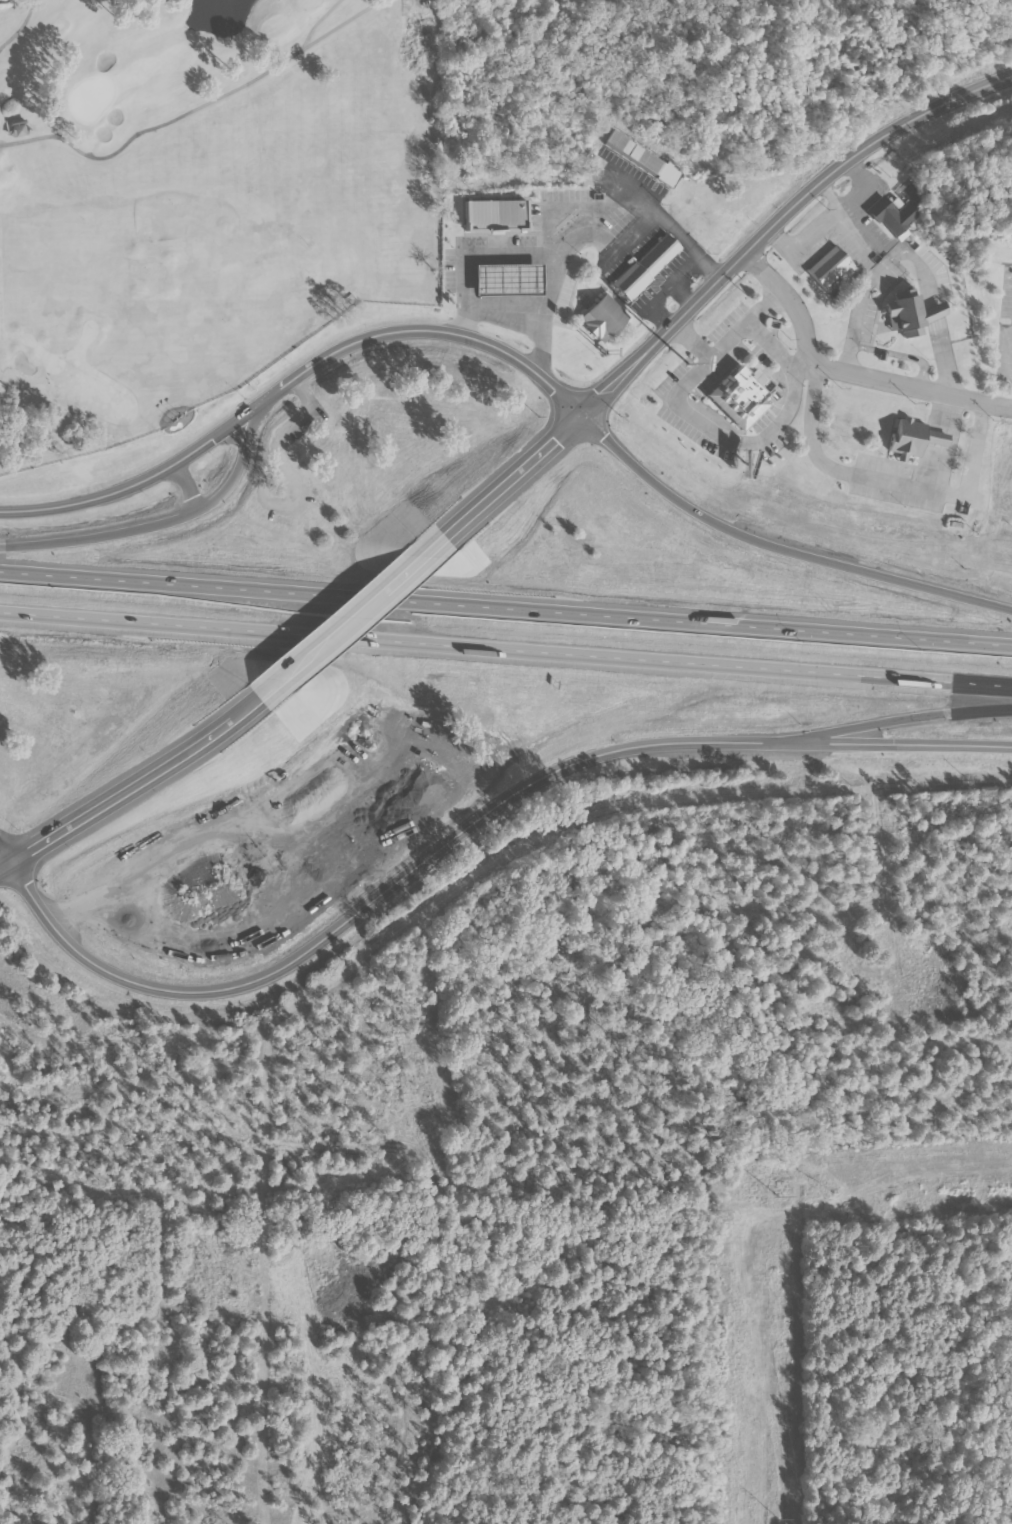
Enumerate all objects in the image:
road: (407, 6)
park: (439, 6)
road: (319, 20)
road: (21, 27)
park: (137, 58)
park: (91, 98)
road: (195, 110)
building: (17, 129)
building: (645, 159)
road: (567, 205)
building: (496, 215)
building: (888, 216)
road: (666, 217)
road: (590, 220)
road: (562, 250)
road: (471, 253)
park: (209, 255)
building: (646, 265)
building: (829, 268)
building: (509, 280)
gas station: (509, 280)
road: (666, 291)
road: (704, 292)
road: (683, 294)
building: (929, 311)
building: (903, 314)
building: (601, 317)
road: (425, 330)
road: (848, 373)
building: (741, 395)
building: (905, 436)
building: (933, 436)
road: (142, 480)
road: (189, 486)
road: (166, 522)
road: (777, 547)
road: (506, 607)
road: (347, 617)
road: (505, 650)
road: (250, 703)
road: (893, 720)
road: (894, 744)
road: (122, 793)
road: (5, 855)
road: (5, 865)
road: (375, 899)

